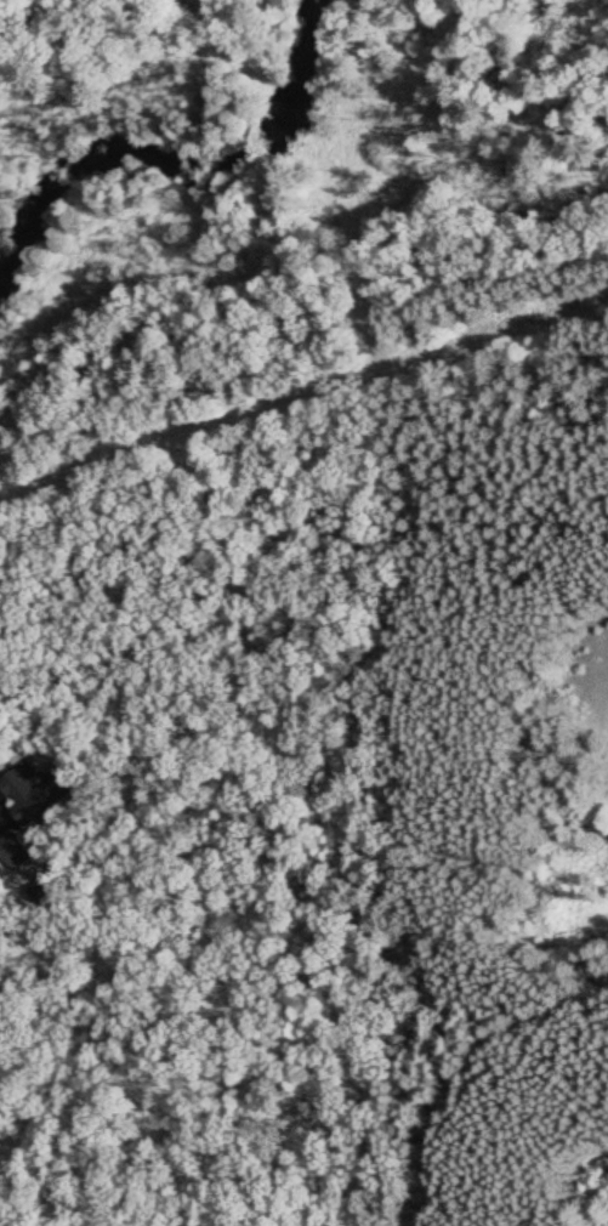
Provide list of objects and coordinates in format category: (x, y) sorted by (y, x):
river: (169, 151)
road: (488, 1089)

